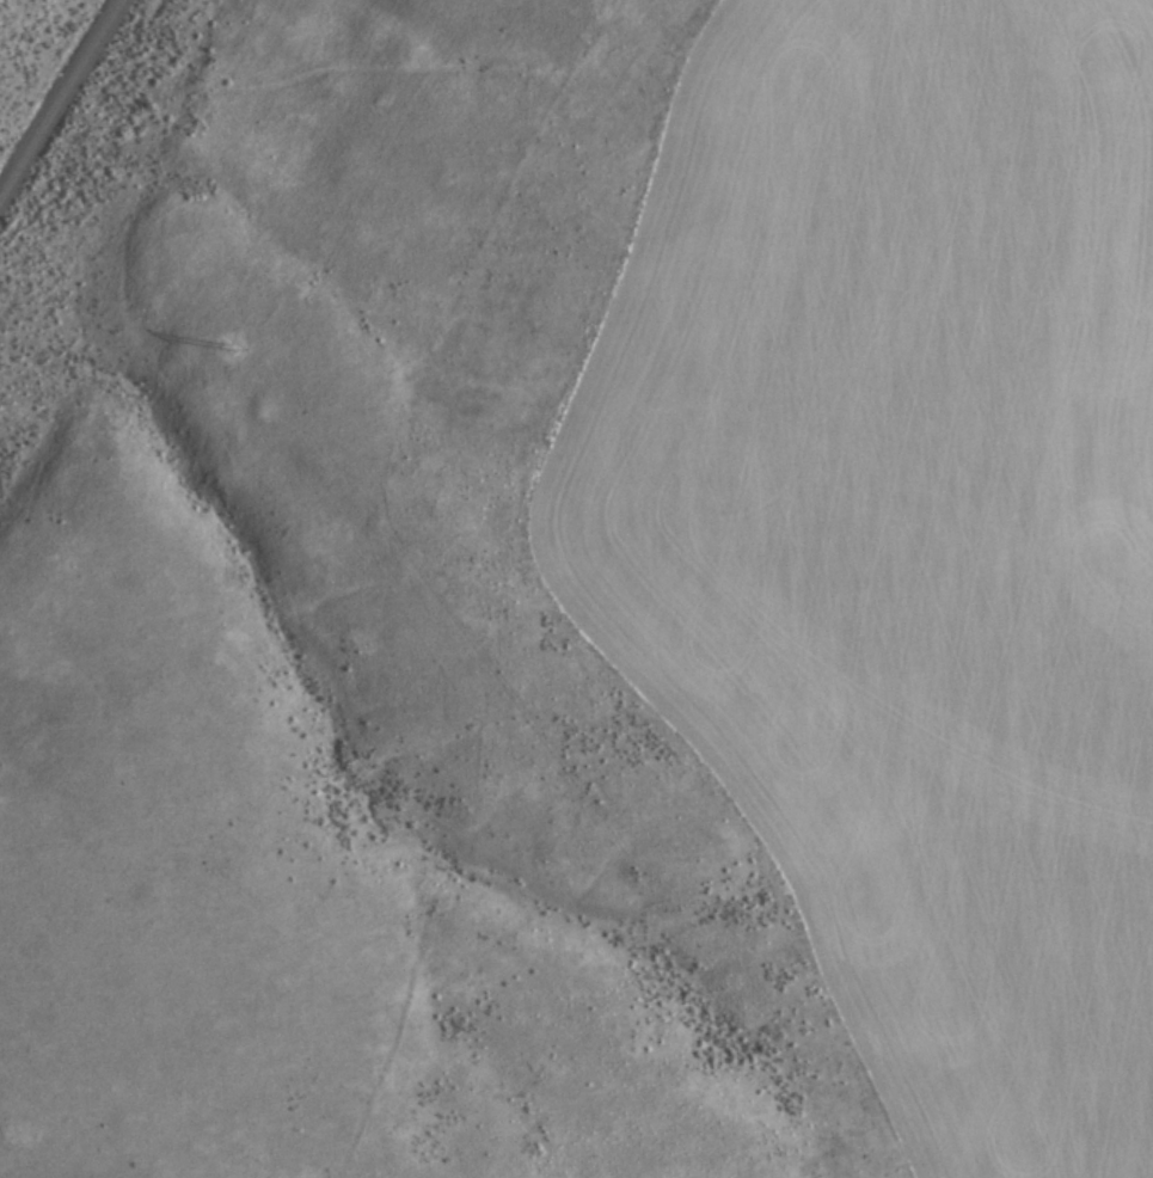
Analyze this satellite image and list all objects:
road: (59, 94)

